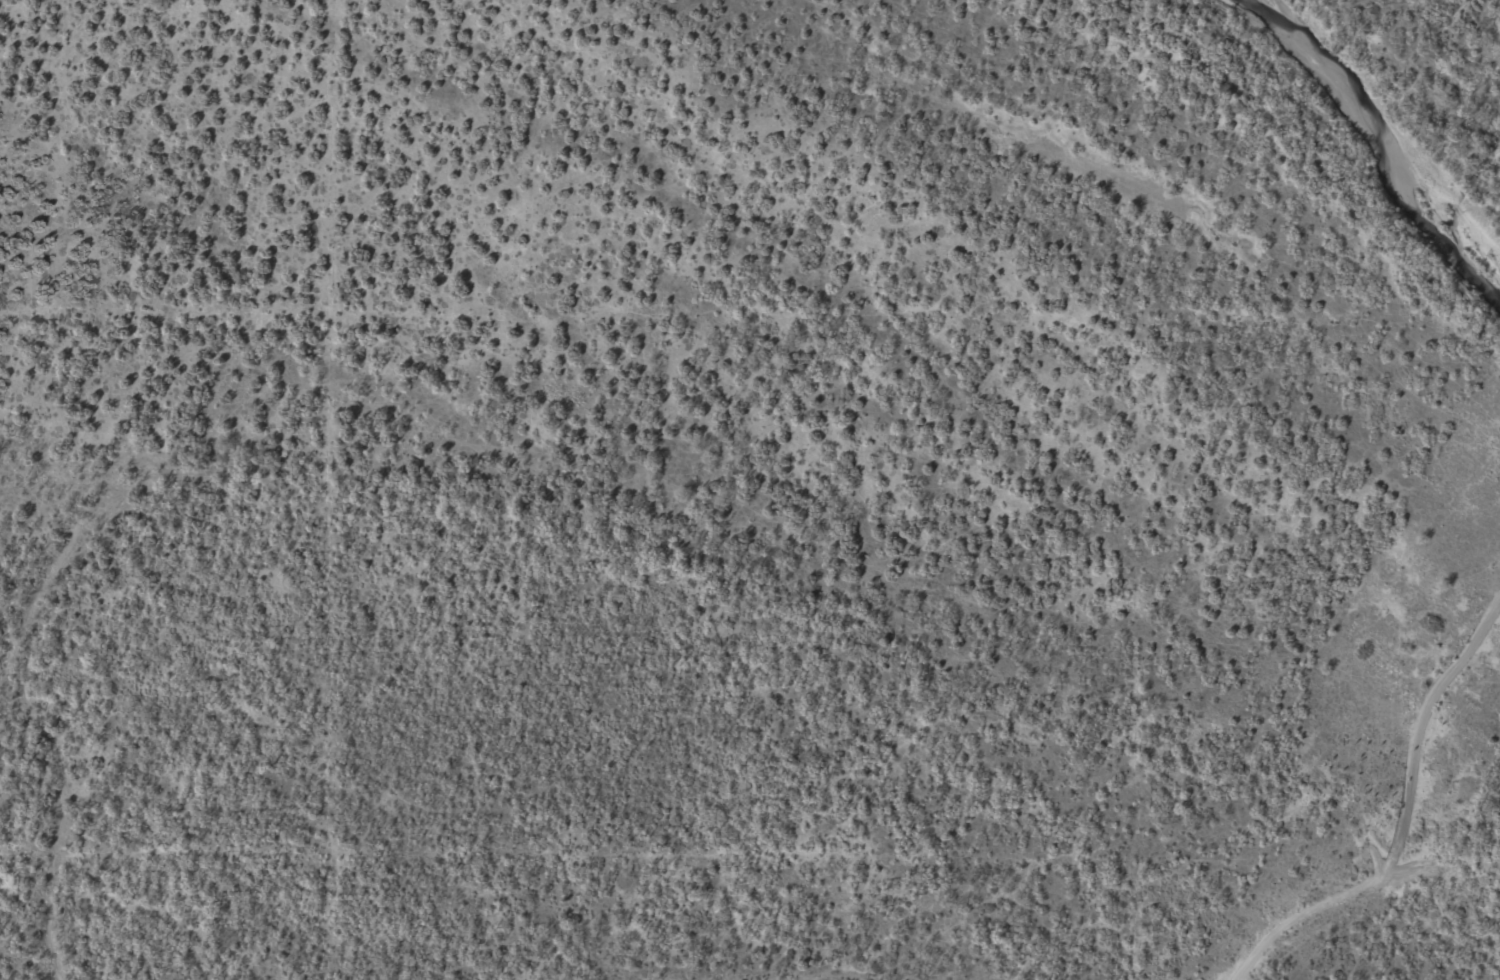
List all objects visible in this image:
river: (1382, 134)
road: (1389, 802)

